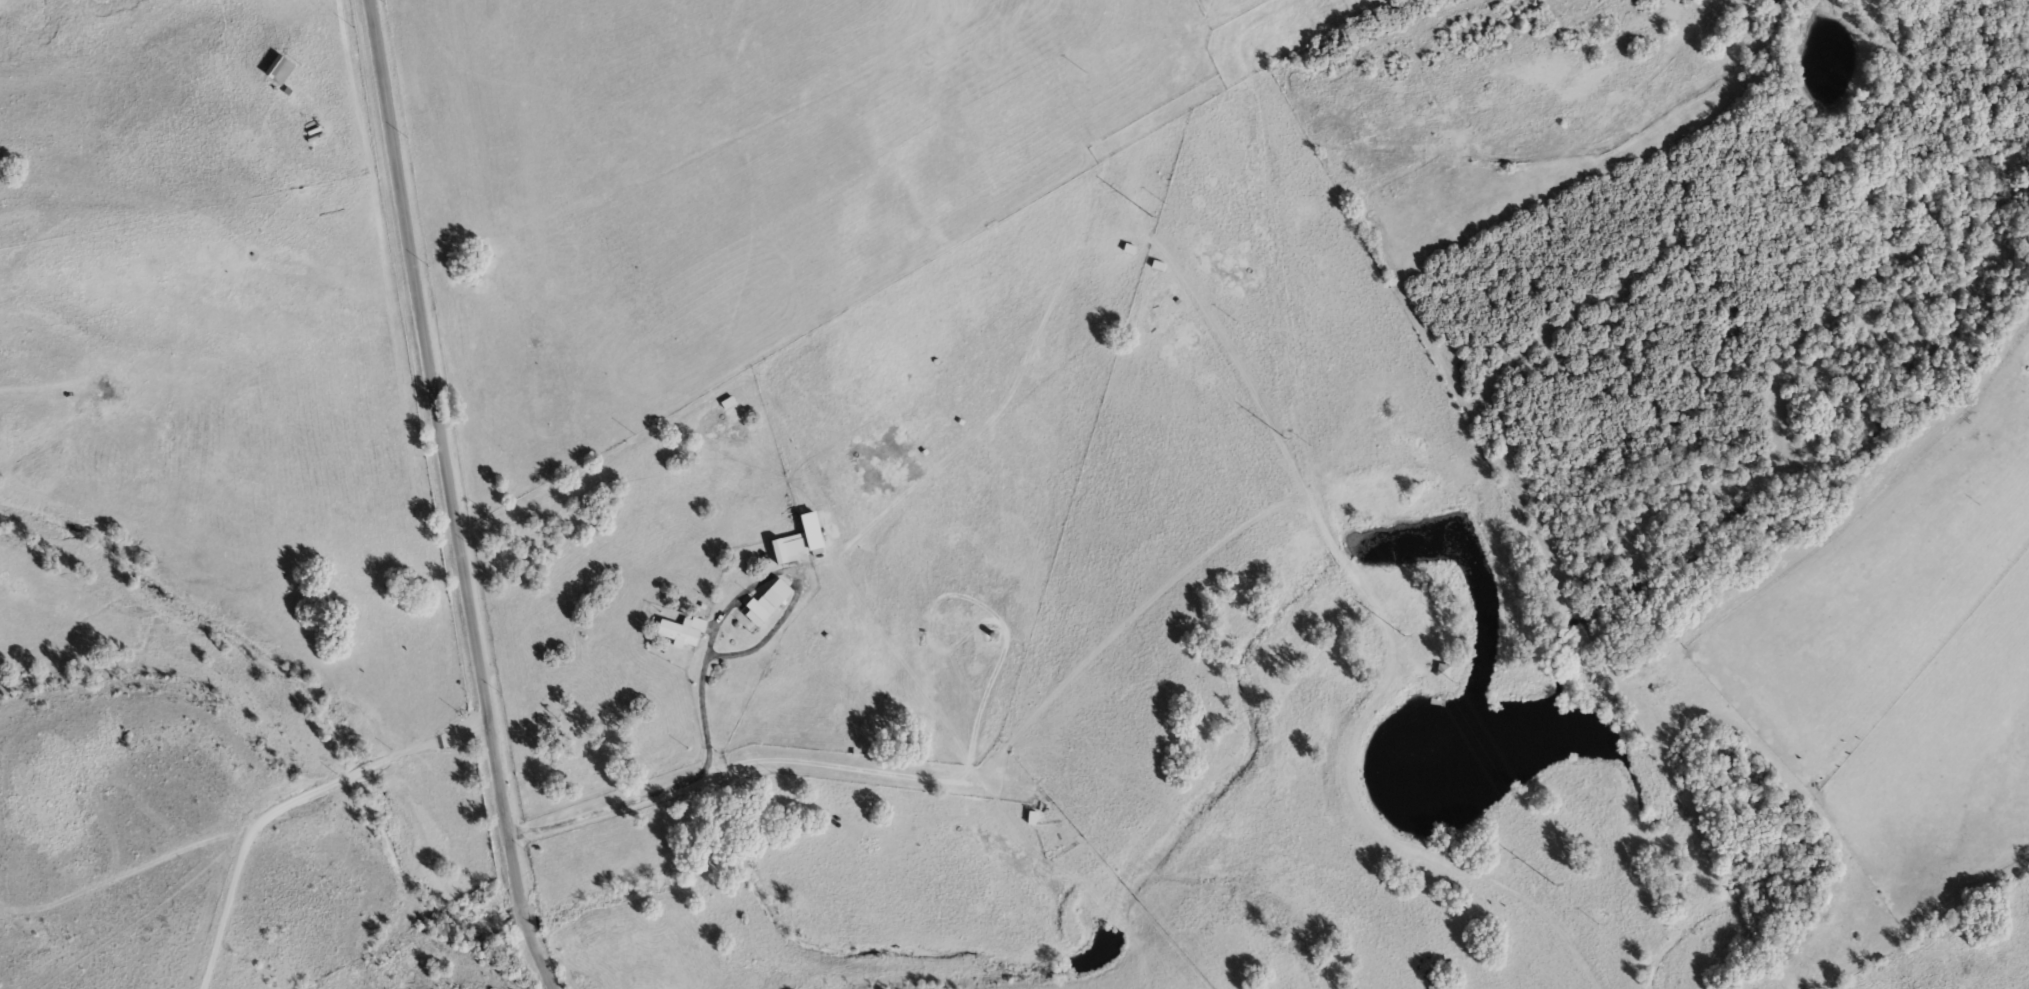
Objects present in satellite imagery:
road: (345, 42)
building: (283, 72)
road: (450, 497)
building: (792, 550)
road: (1339, 556)
road: (744, 593)
road: (947, 595)
building: (772, 605)
building: (686, 634)
road: (814, 758)
road: (292, 802)

